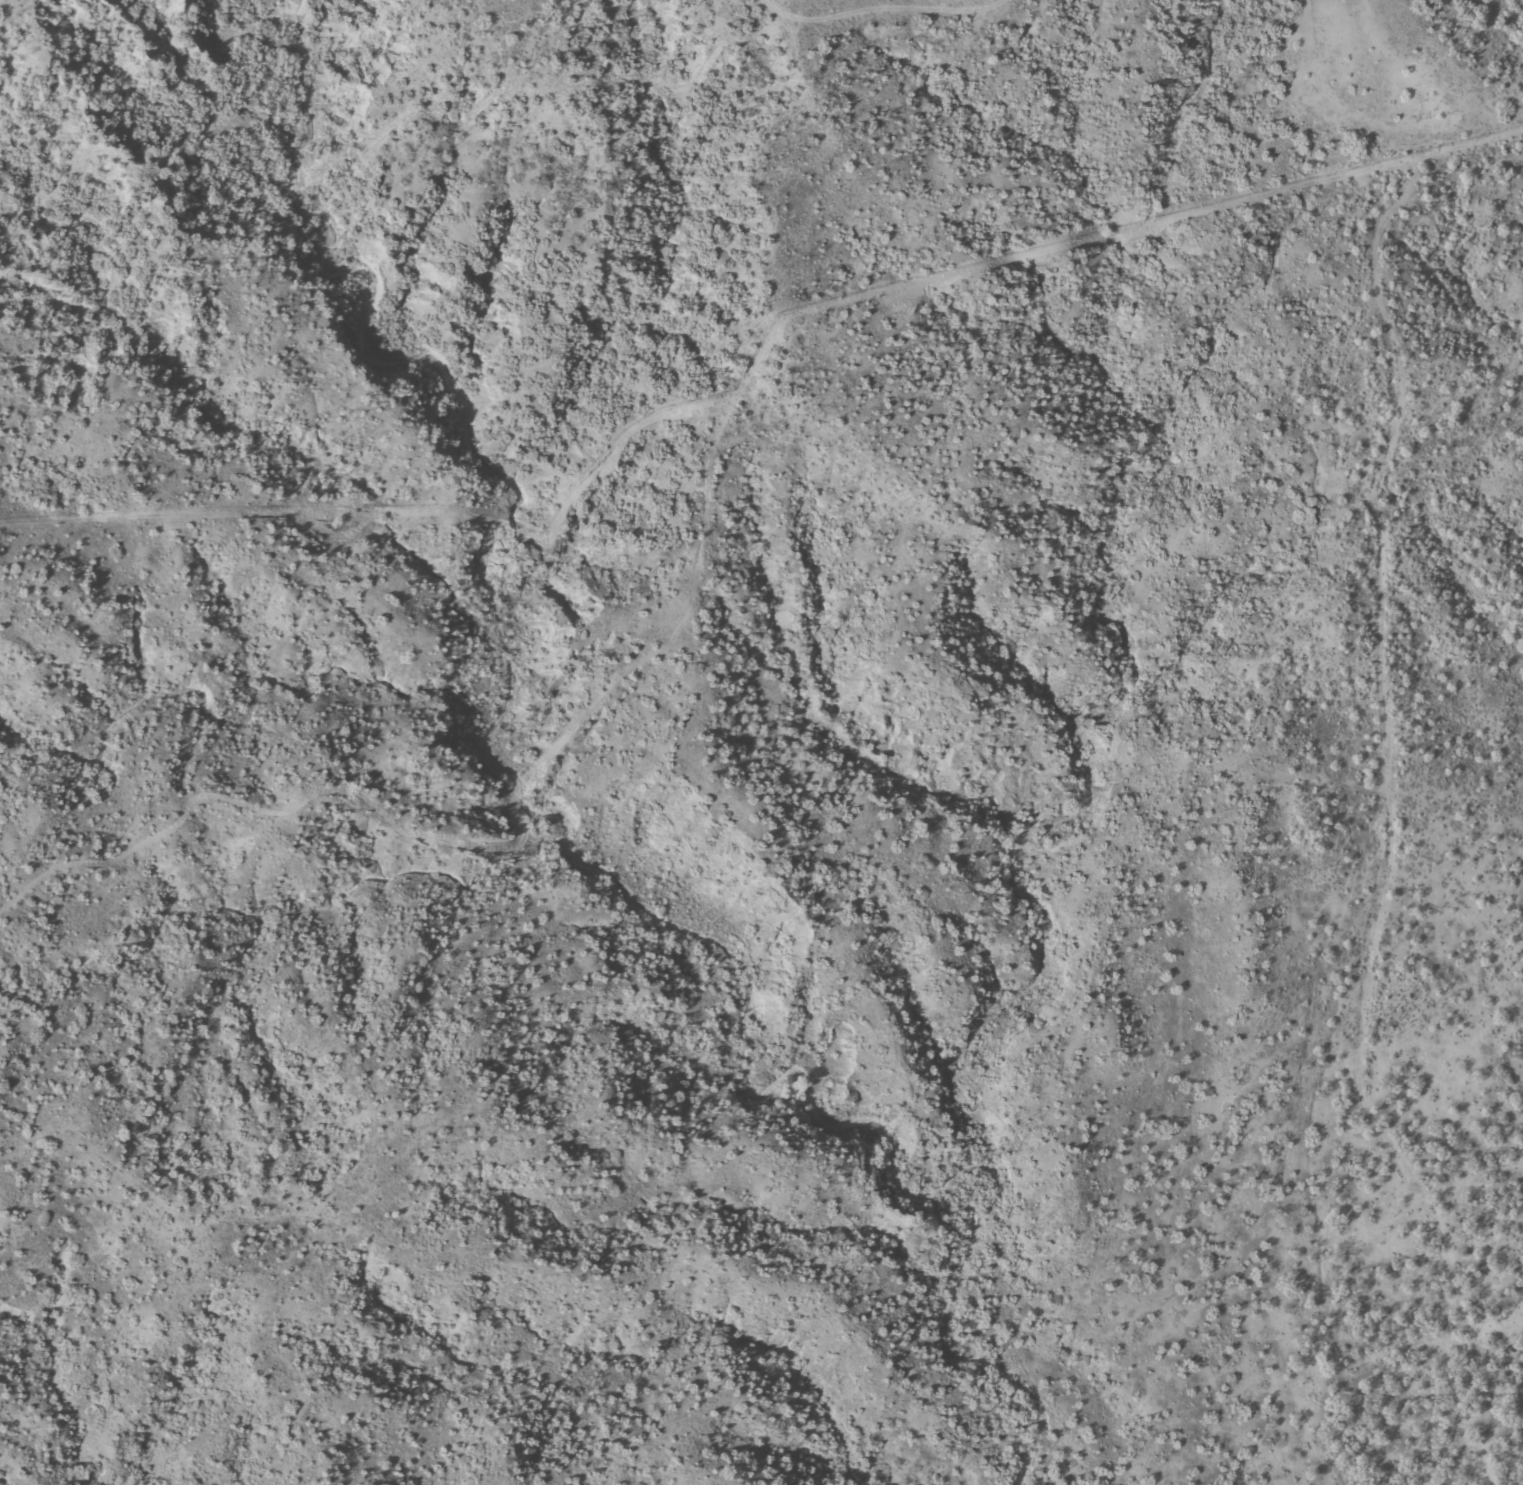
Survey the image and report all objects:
road: (1376, 746)

